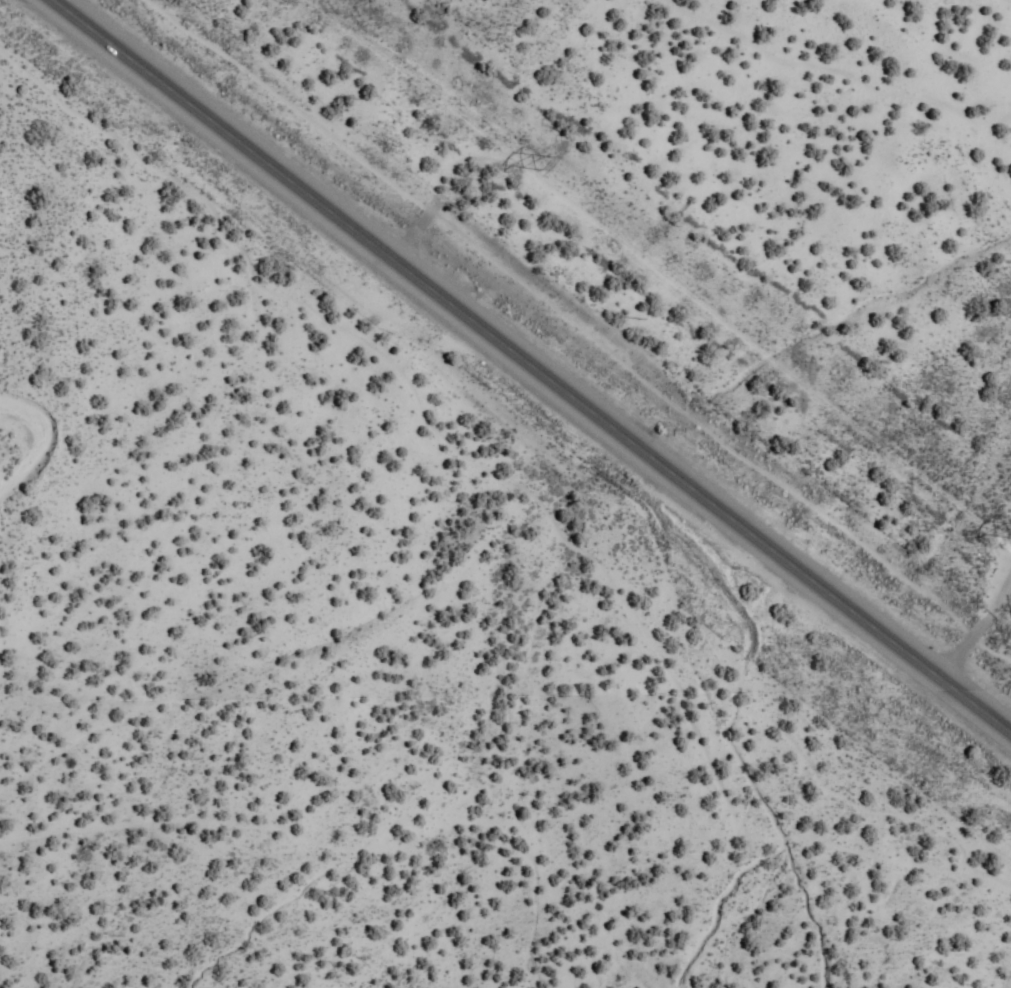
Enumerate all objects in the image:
power tower: (539, 166)
road: (649, 226)
road: (532, 365)
road: (978, 629)
road: (507, 820)

